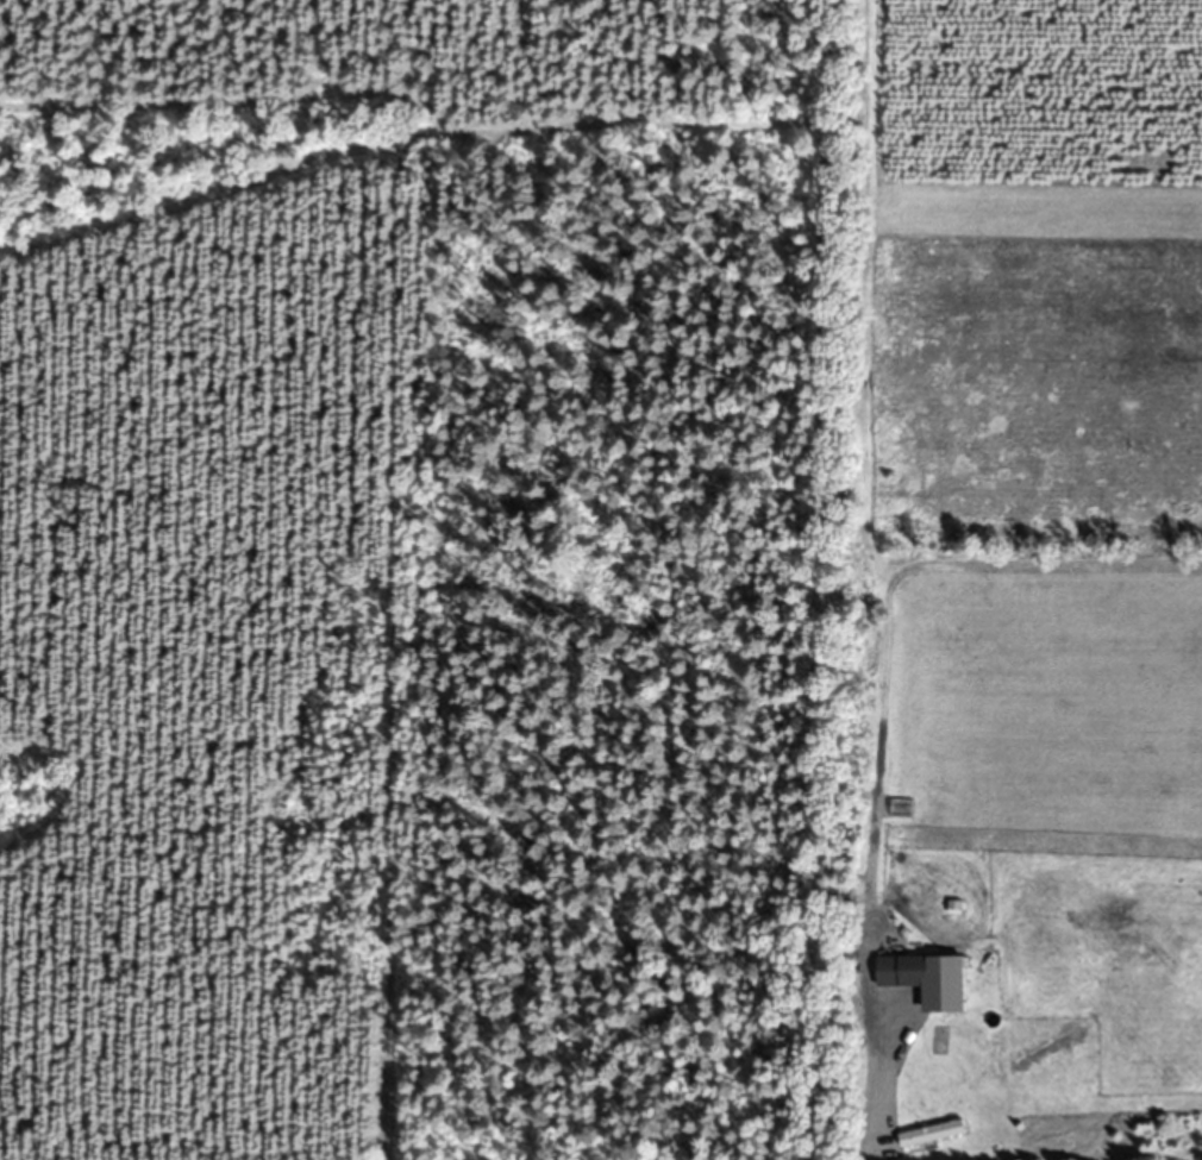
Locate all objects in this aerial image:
building: (907, 971)
building: (934, 1134)

